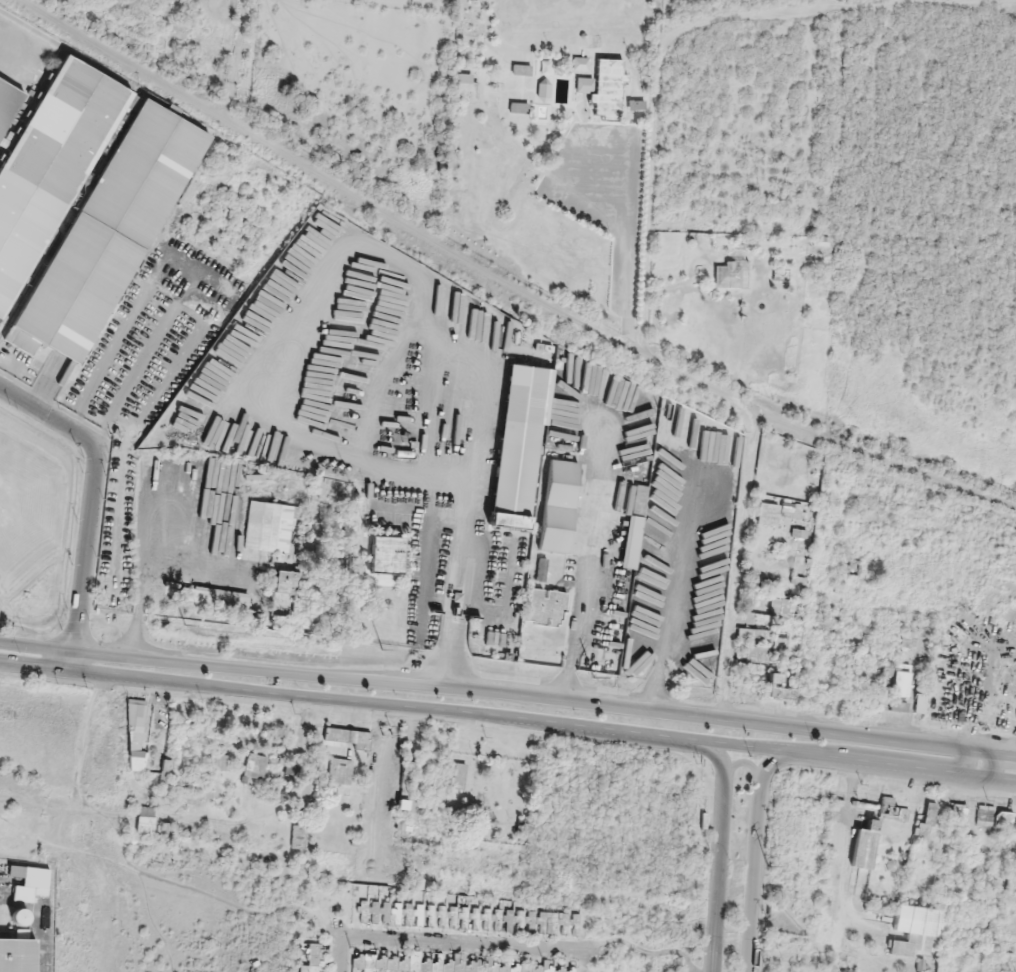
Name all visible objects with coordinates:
road: (662, 45)
building: (608, 70)
building: (582, 84)
building: (46, 164)
building: (99, 241)
road: (501, 287)
road: (48, 416)
building: (520, 429)
building: (562, 481)
building: (767, 513)
power substation: (980, 960)

